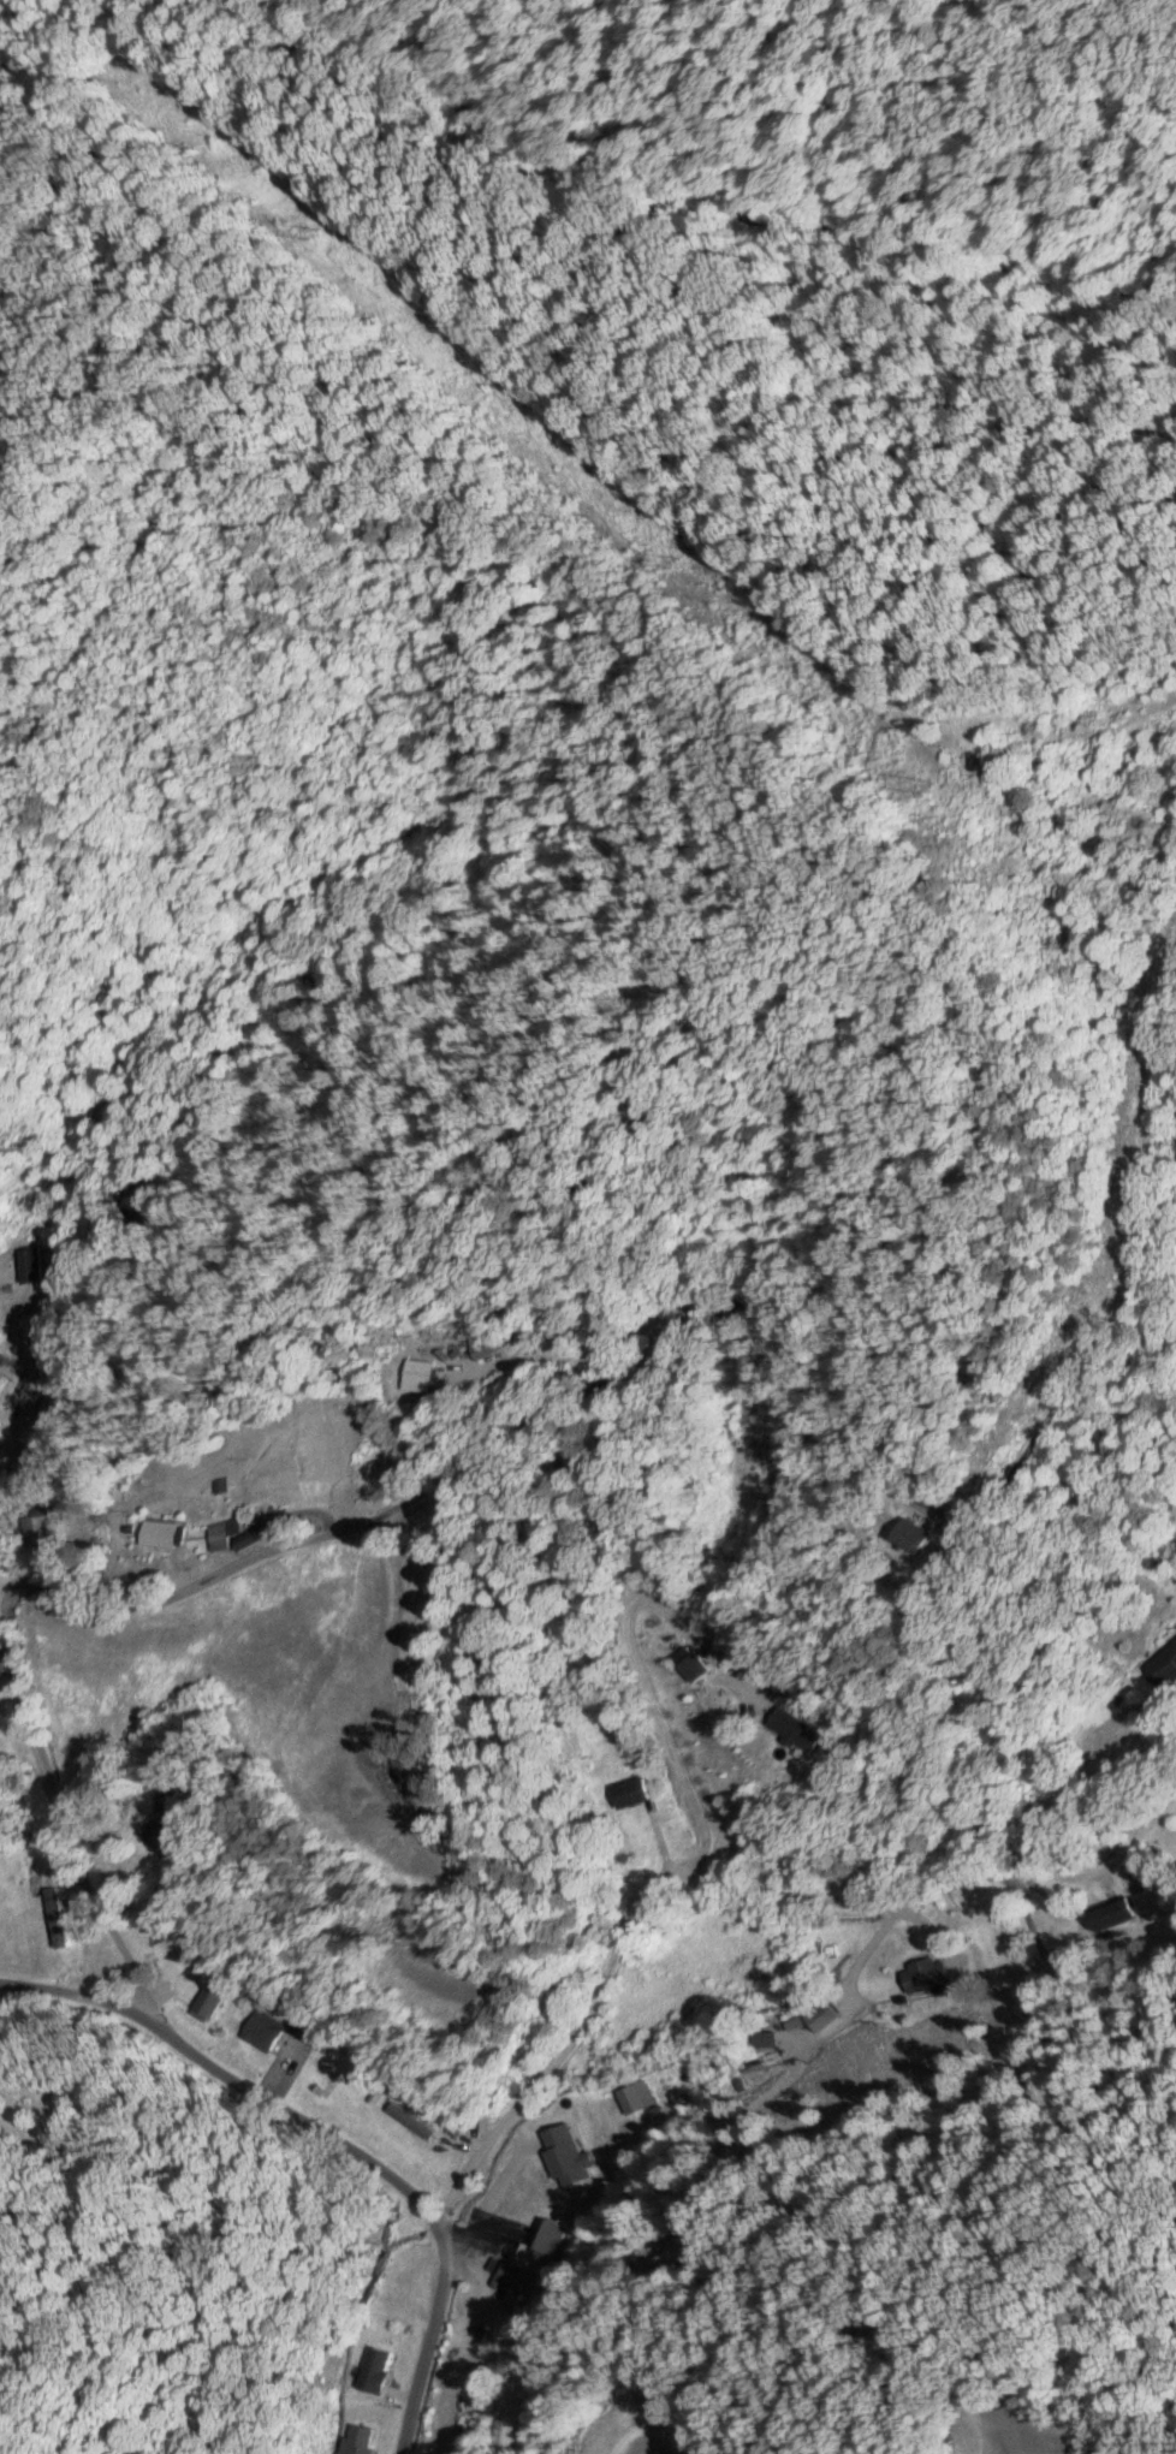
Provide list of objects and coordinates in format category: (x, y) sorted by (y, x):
building: (28, 1264)
building: (474, 1351)
building: (410, 1375)
road: (551, 1412)
building: (31, 1525)
building: (150, 1533)
building: (221, 1534)
building: (899, 1535)
road: (636, 1653)
building: (688, 1662)
building: (1162, 1666)
building: (789, 1728)
building: (628, 1790)
road: (985, 1825)
building: (152, 1836)
road: (992, 1877)
building: (1109, 1914)
road: (607, 1943)
road: (861, 1951)
building: (923, 1974)
building: (203, 2003)
road: (71, 2008)
building: (815, 2016)
building: (274, 2028)
building: (406, 2120)
road: (394, 2179)
building: (516, 2200)
building: (540, 2247)
building: (372, 2369)
building: (357, 2440)

